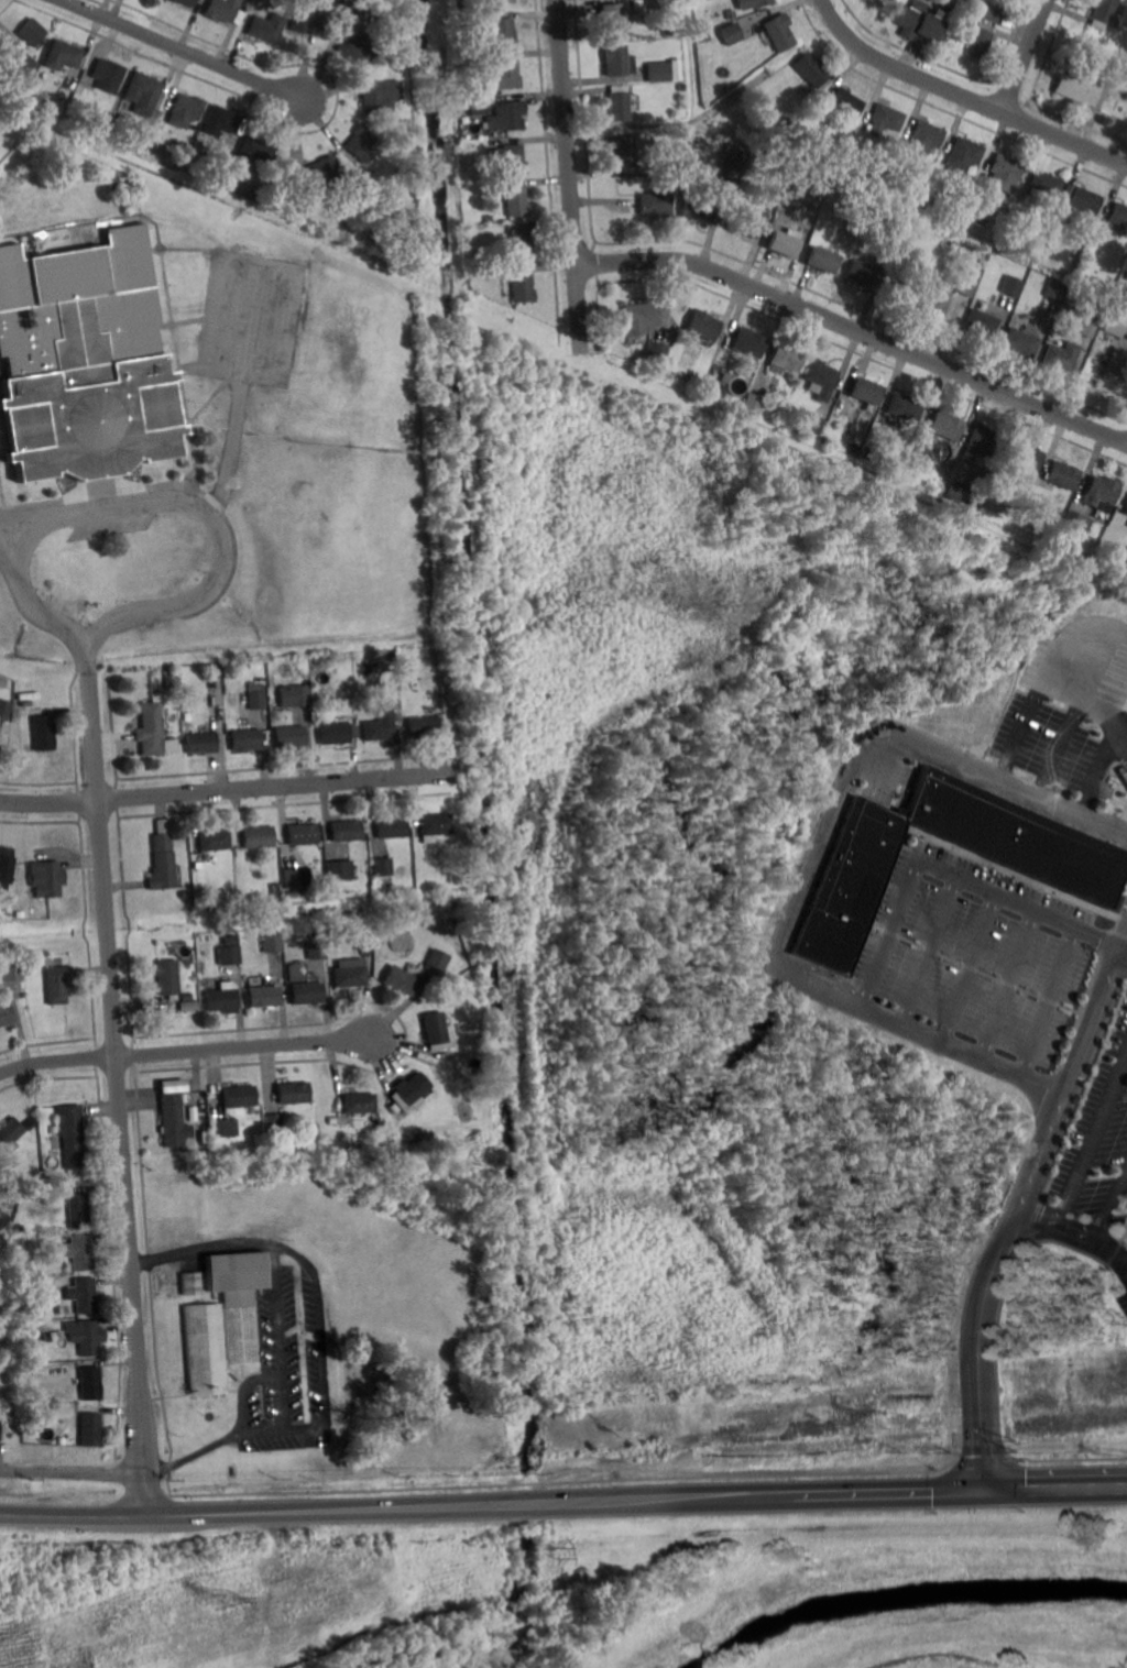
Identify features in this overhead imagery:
building: (501, 1)
building: (186, 2)
building: (945, 3)
building: (752, 4)
building: (705, 7)
building: (223, 9)
building: (366, 9)
building: (993, 13)
building: (1104, 13)
building: (307, 17)
building: (612, 18)
building: (918, 21)
building: (267, 26)
building: (33, 32)
building: (503, 33)
building: (779, 33)
building: (731, 34)
building: (704, 37)
building: (980, 39)
building: (358, 48)
road: (184, 50)
building: (64, 55)
road: (1027, 56)
building: (616, 59)
building: (15, 61)
building: (479, 62)
building: (676, 66)
building: (812, 69)
building: (659, 72)
building: (504, 74)
building: (109, 75)
building: (682, 86)
building: (1081, 87)
building: (142, 94)
road: (965, 95)
building: (380, 96)
building: (847, 103)
building: (480, 106)
building: (620, 106)
building: (187, 110)
building: (507, 116)
building: (886, 120)
building: (222, 121)
building: (864, 125)
building: (926, 138)
building: (135, 141)
building: (361, 142)
building: (795, 144)
building: (624, 151)
building: (253, 152)
building: (965, 154)
building: (220, 160)
building: (510, 161)
building: (679, 162)
building: (732, 169)
building: (893, 172)
building: (1006, 172)
building: (314, 174)
road: (569, 175)
building: (467, 176)
building: (666, 178)
building: (113, 184)
building: (1046, 184)
building: (365, 190)
building: (259, 198)
building: (515, 199)
building: (1087, 199)
building: (657, 204)
building: (698, 208)
building: (1060, 209)
building: (947, 213)
building: (1119, 213)
building: (977, 215)
building: (749, 221)
building: (785, 243)
building: (890, 244)
building: (521, 245)
building: (1059, 252)
building: (823, 261)
building: (504, 271)
building: (862, 274)
building: (966, 285)
building: (1014, 285)
building: (524, 287)
building: (1059, 289)
building: (930, 304)
building: (1096, 311)
building: (639, 318)
building: (983, 323)
building: (1117, 325)
building: (703, 326)
road: (855, 329)
building: (1024, 342)
building: (751, 343)
building: (658, 352)
building: (1064, 356)
building: (787, 358)
building: (84, 360)
building: (1117, 367)
building: (823, 380)
building: (723, 391)
building: (866, 393)
building: (755, 404)
building: (906, 408)
building: (839, 409)
building: (814, 425)
building: (948, 426)
building: (982, 447)
building: (919, 454)
building: (869, 457)
building: (1027, 457)
building: (1065, 475)
building: (1104, 492)
building: (966, 495)
road: (164, 501)
building: (1126, 512)
building: (1079, 523)
parking lot: (109, 526)
road: (8, 536)
building: (1126, 562)
road: (1068, 673)
building: (169, 682)
building: (404, 688)
building: (295, 696)
building: (252, 699)
building: (4, 709)
building: (380, 726)
road: (1031, 726)
building: (423, 727)
building: (43, 733)
building: (152, 733)
building: (333, 733)
building: (289, 736)
building: (245, 739)
building: (201, 742)
parking lot: (1064, 746)
road: (1071, 747)
building: (29, 748)
road: (1110, 771)
road: (227, 789)
building: (391, 827)
building: (431, 827)
building: (346, 830)
building: (298, 835)
building: (259, 837)
building: (214, 842)
building: (6, 865)
building: (162, 865)
building: (196, 866)
building: (381, 867)
building: (242, 868)
road: (949, 868)
building: (339, 869)
building: (1074, 869)
road: (809, 871)
building: (47, 879)
building: (295, 879)
building: (385, 885)
building: (275, 895)
building: (184, 896)
building: (291, 896)
building: (228, 941)
building: (271, 943)
building: (315, 948)
road: (930, 948)
building: (363, 952)
building: (229, 957)
building: (435, 962)
road: (972, 967)
building: (33, 968)
building: (12, 970)
building: (168, 977)
building: (347, 978)
building: (397, 980)
building: (57, 984)
road: (1011, 984)
building: (306, 994)
building: (187, 997)
building: (263, 998)
building: (221, 999)
road: (1052, 1001)
building: (187, 1005)
building: (161, 1006)
building: (6, 1016)
building: (434, 1033)
road: (182, 1050)
road: (121, 1091)
building: (292, 1093)
building: (406, 1093)
building: (238, 1096)
building: (357, 1105)
building: (331, 1120)
building: (174, 1121)
building: (274, 1124)
building: (32, 1126)
building: (223, 1128)
building: (11, 1132)
building: (73, 1137)
road: (1088, 1139)
parking lot: (1098, 1144)
road: (1109, 1201)
building: (80, 1209)
road: (1016, 1209)
building: (3, 1219)
road: (1073, 1234)
building: (19, 1242)
road: (199, 1243)
building: (79, 1252)
road: (1011, 1259)
building: (189, 1284)
building: (83, 1295)
parking lot: (1123, 1301)
building: (55, 1308)
building: (223, 1319)
road: (275, 1334)
building: (86, 1338)
building: (90, 1383)
road: (241, 1387)
road: (325, 1414)
power tower: (879, 1422)
building: (0, 1427)
building: (90, 1429)
power tower: (1018, 1445)
road: (73, 1470)
road: (563, 1506)
power tower: (556, 1551)
power tower: (223, 1596)

